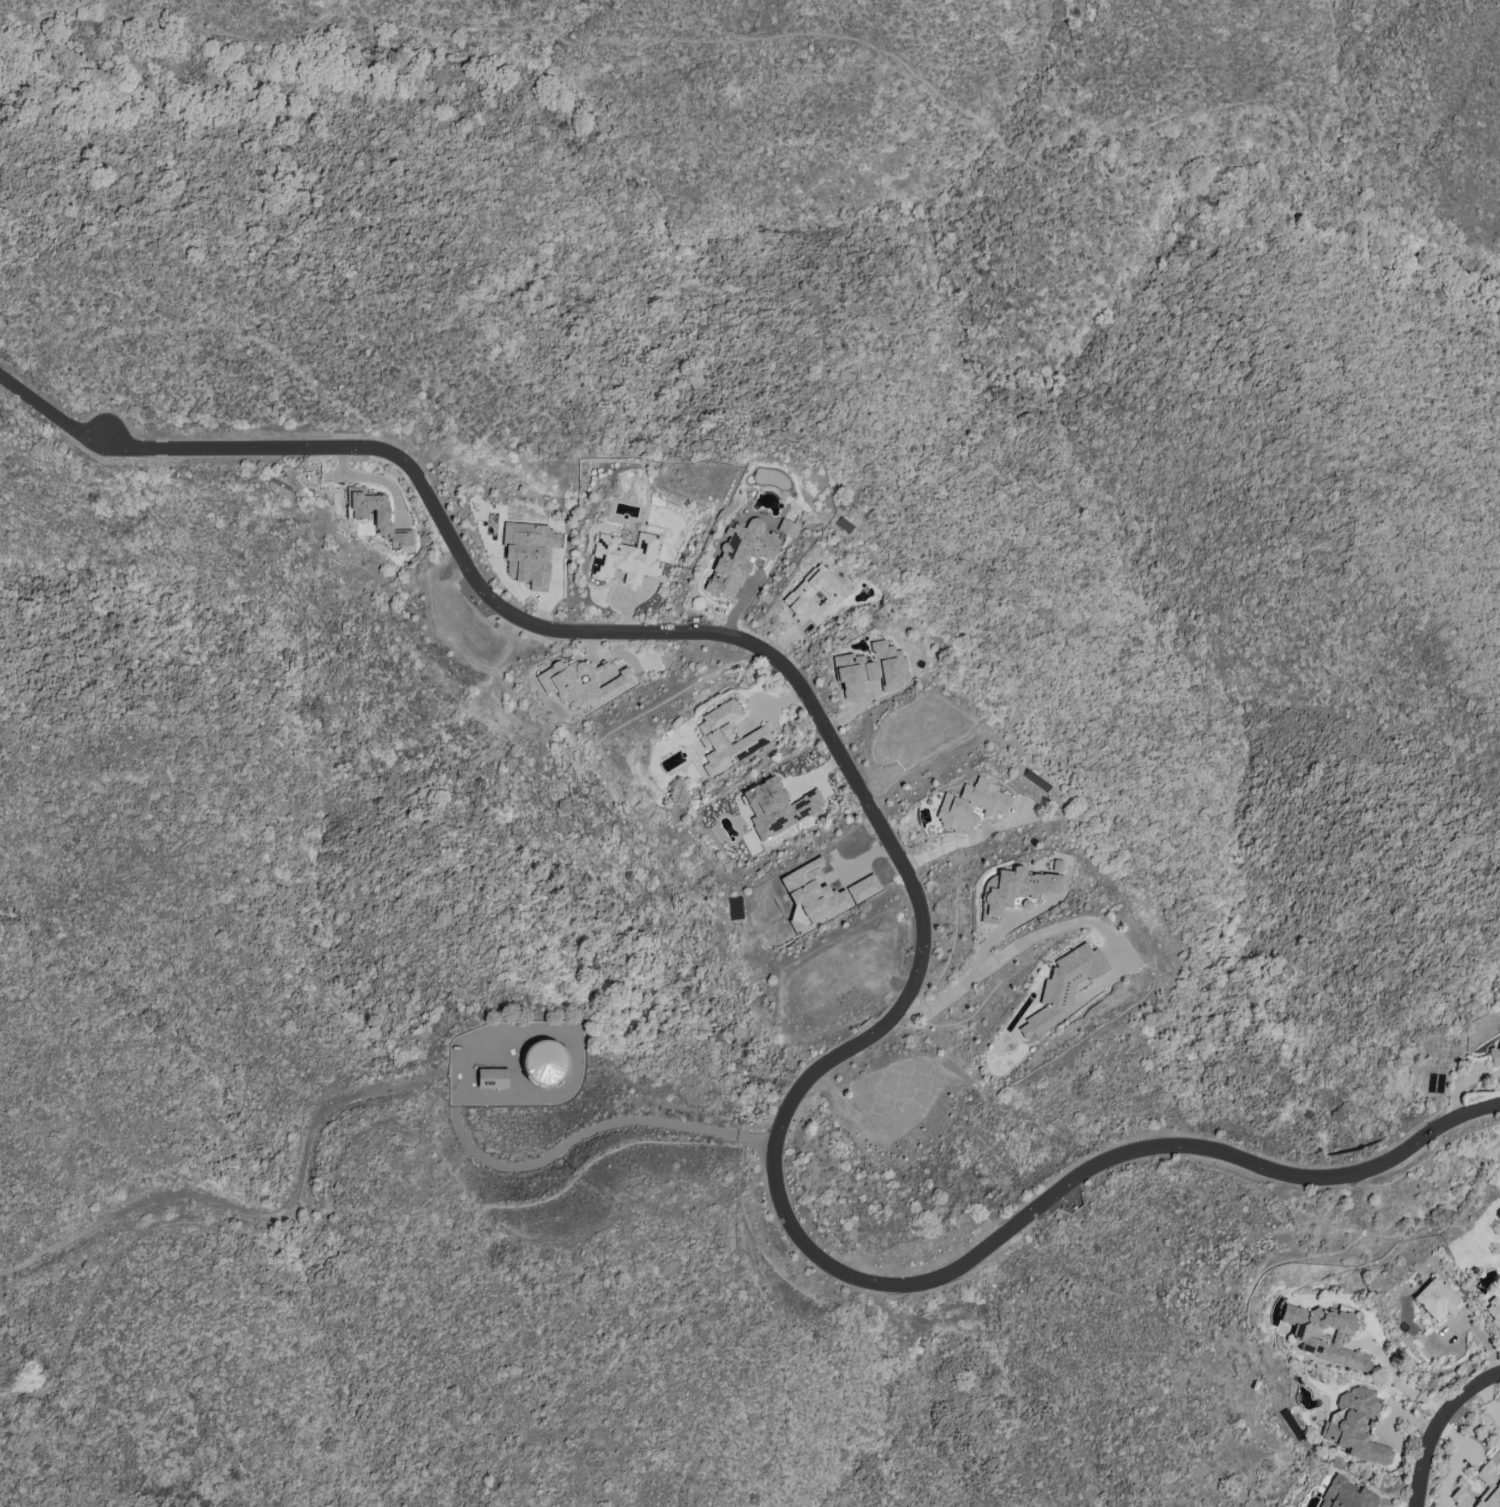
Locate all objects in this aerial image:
road: (831, 35)
road: (49, 413)
building: (378, 517)
building: (788, 528)
building: (528, 553)
building: (740, 555)
building: (624, 558)
building: (814, 595)
building: (870, 669)
building: (582, 683)
building: (754, 739)
building: (970, 804)
building: (777, 807)
road: (960, 841)
building: (1015, 890)
building: (824, 891)
road: (1013, 946)
road: (925, 956)
building: (1063, 987)
building: (1494, 1055)
building: (543, 1062)
building: (491, 1078)
road: (601, 1126)
road: (247, 1210)
building: (1436, 1300)
building: (1494, 1311)
building: (1323, 1335)
road: (1399, 1382)
building: (1355, 1426)
road: (1440, 1428)
building: (1490, 1481)
building: (1345, 1494)

